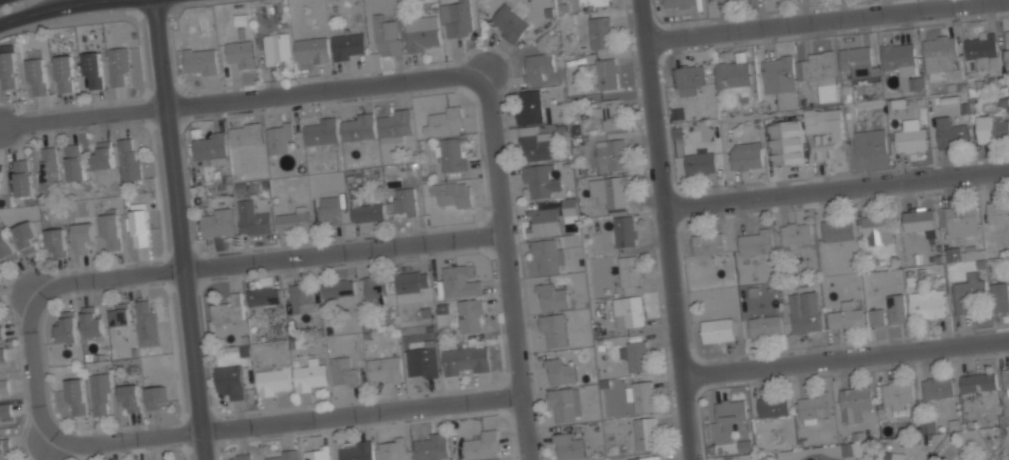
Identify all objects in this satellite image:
building: (715, 0)
building: (593, 2)
building: (679, 3)
road: (55, 9)
building: (458, 18)
road: (821, 20)
building: (509, 23)
building: (601, 32)
building: (421, 33)
building: (387, 36)
building: (1007, 44)
building: (349, 46)
building: (278, 49)
building: (311, 49)
building: (982, 49)
building: (941, 52)
building: (240, 53)
building: (900, 57)
building: (199, 61)
building: (858, 61)
building: (539, 65)
building: (118, 66)
building: (820, 69)
building: (8, 70)
building: (93, 71)
building: (606, 73)
building: (65, 74)
building: (37, 75)
building: (734, 75)
building: (688, 78)
building: (781, 79)
road: (328, 87)
building: (530, 105)
building: (608, 113)
road: (85, 116)
building: (445, 121)
building: (395, 124)
building: (358, 129)
building: (993, 129)
building: (321, 132)
building: (951, 132)
building: (245, 135)
building: (279, 138)
building: (911, 139)
building: (828, 140)
building: (786, 142)
building: (870, 142)
building: (534, 144)
building: (210, 148)
building: (452, 154)
building: (611, 154)
building: (103, 156)
building: (746, 156)
building: (128, 159)
building: (74, 162)
building: (699, 163)
building: (49, 168)
building: (0, 172)
building: (23, 178)
building: (538, 181)
road: (836, 187)
building: (609, 191)
building: (452, 193)
building: (402, 202)
building: (569, 206)
building: (329, 210)
building: (998, 210)
building: (367, 213)
building: (253, 217)
building: (920, 218)
building: (292, 219)
building: (960, 219)
building: (217, 221)
building: (544, 222)
building: (140, 228)
building: (838, 229)
building: (878, 229)
road: (181, 230)
building: (624, 230)
road: (666, 230)
building: (111, 232)
building: (795, 234)
building: (26, 237)
building: (83, 238)
building: (56, 241)
building: (755, 241)
building: (708, 243)
building: (6, 248)
building: (965, 252)
building: (545, 254)
road: (267, 258)
road: (506, 264)
building: (627, 271)
building: (411, 281)
building: (459, 281)
building: (338, 288)
building: (375, 290)
building: (968, 291)
building: (551, 296)
building: (999, 296)
building: (264, 297)
building: (301, 298)
building: (927, 303)
building: (896, 308)
building: (230, 310)
building: (629, 311)
building: (804, 311)
building: (119, 314)
building: (470, 315)
building: (846, 316)
building: (877, 316)
building: (92, 322)
building: (146, 322)
building: (765, 325)
building: (66, 327)
building: (718, 329)
building: (553, 330)
building: (1, 334)
road: (844, 353)
building: (634, 354)
building: (2, 355)
building: (466, 359)
building: (422, 362)
road: (34, 367)
building: (384, 369)
building: (343, 371)
building: (560, 371)
building: (310, 375)
building: (1005, 380)
building: (229, 381)
building: (273, 381)
building: (979, 382)
building: (4, 386)
building: (938, 386)
building: (898, 392)
building: (99, 394)
building: (640, 395)
building: (75, 396)
building: (129, 397)
building: (155, 397)
building: (854, 400)
building: (565, 404)
building: (774, 406)
building: (815, 406)
building: (5, 411)
building: (730, 412)
road: (284, 417)
building: (927, 428)
building: (645, 432)
building: (430, 445)
building: (482, 445)
building: (4, 446)
building: (567, 447)
building: (391, 448)
building: (356, 450)
building: (317, 453)
building: (282, 455)
building: (883, 456)
building: (894, 456)
building: (243, 457)
building: (645, 457)

